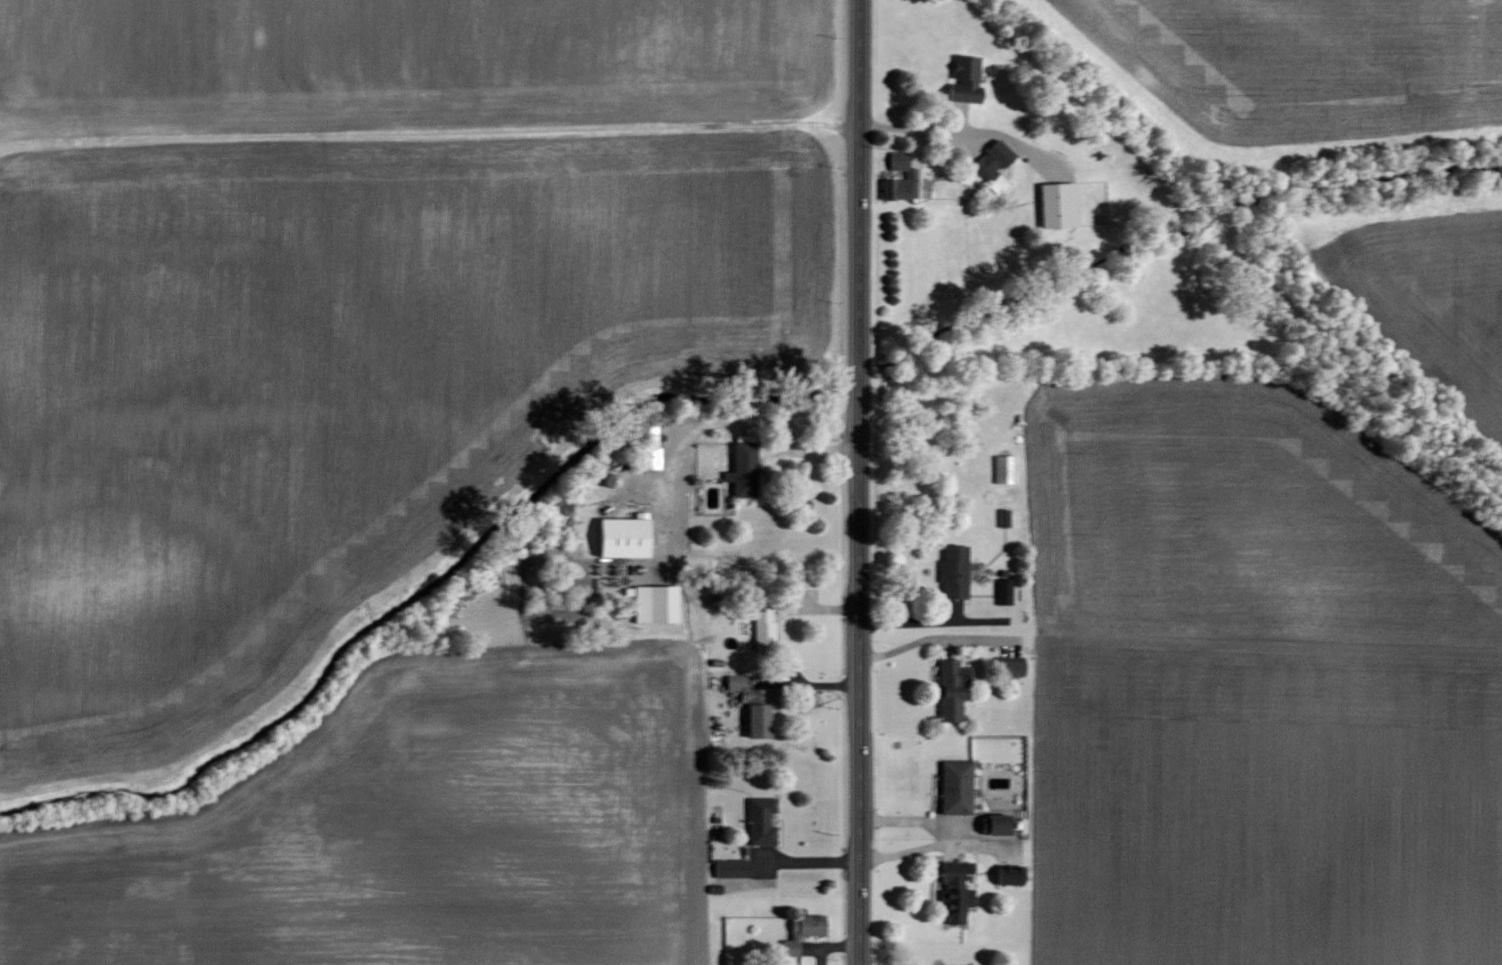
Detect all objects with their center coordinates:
building: (964, 80)
building: (991, 164)
building: (910, 175)
building: (1058, 205)
building: (649, 457)
building: (1004, 468)
building: (742, 469)
road: (860, 482)
building: (1003, 517)
building: (622, 535)
building: (953, 570)
building: (1003, 591)
building: (655, 603)
building: (763, 626)
building: (1009, 665)
building: (951, 688)
building: (751, 704)
building: (955, 787)
building: (760, 821)
building: (994, 823)
building: (730, 868)
building: (1008, 874)
building: (955, 890)
building: (801, 931)
building: (940, 964)

